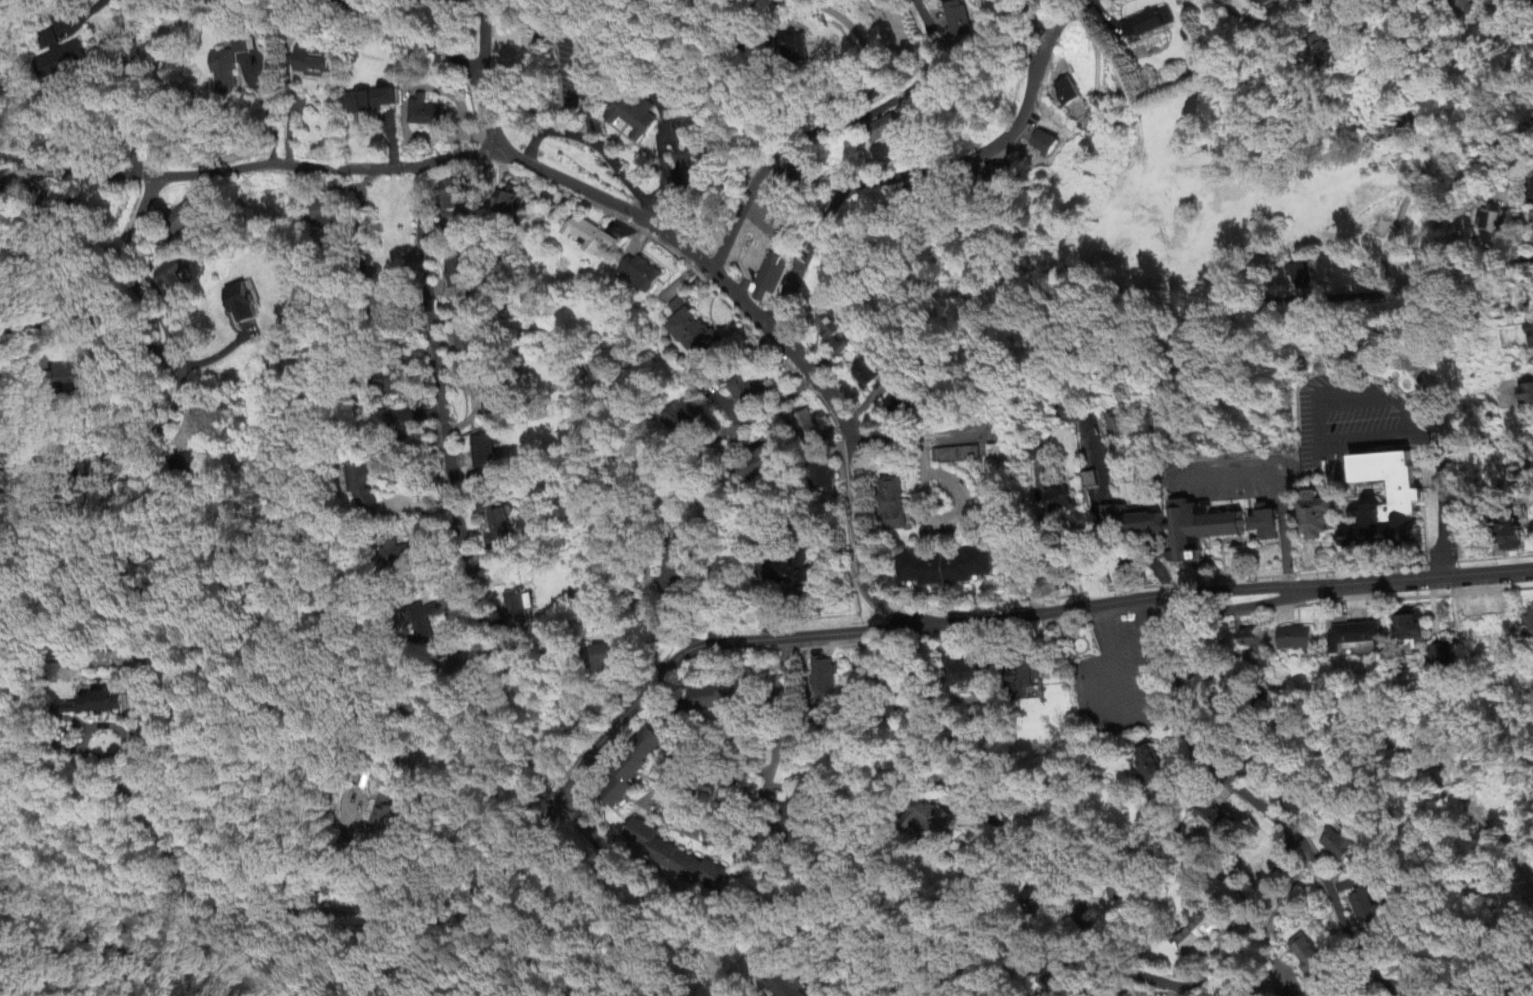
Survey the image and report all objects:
road: (1227, 9)
road: (1060, 17)
road: (1031, 21)
road: (477, 28)
road: (451, 48)
road: (772, 62)
road: (868, 75)
road: (129, 93)
road: (264, 113)
road: (830, 128)
road: (1442, 141)
road: (596, 145)
road: (661, 159)
road: (206, 174)
road: (901, 175)
road: (708, 177)
road: (606, 198)
road: (1445, 201)
road: (127, 276)
road: (93, 321)
building: (67, 375)
road: (1316, 415)
road: (120, 452)
road: (853, 466)
road: (927, 493)
road: (1282, 494)
road: (453, 499)
road: (1446, 504)
road: (1051, 542)
road: (1117, 554)
road: (1155, 567)
road: (692, 648)
road: (775, 671)
road: (1137, 715)
road: (39, 734)
road: (123, 735)
road: (1217, 770)
road: (660, 798)
park: (1455, 839)
road: (430, 854)
road: (640, 898)
road: (1073, 907)
road: (1231, 983)

